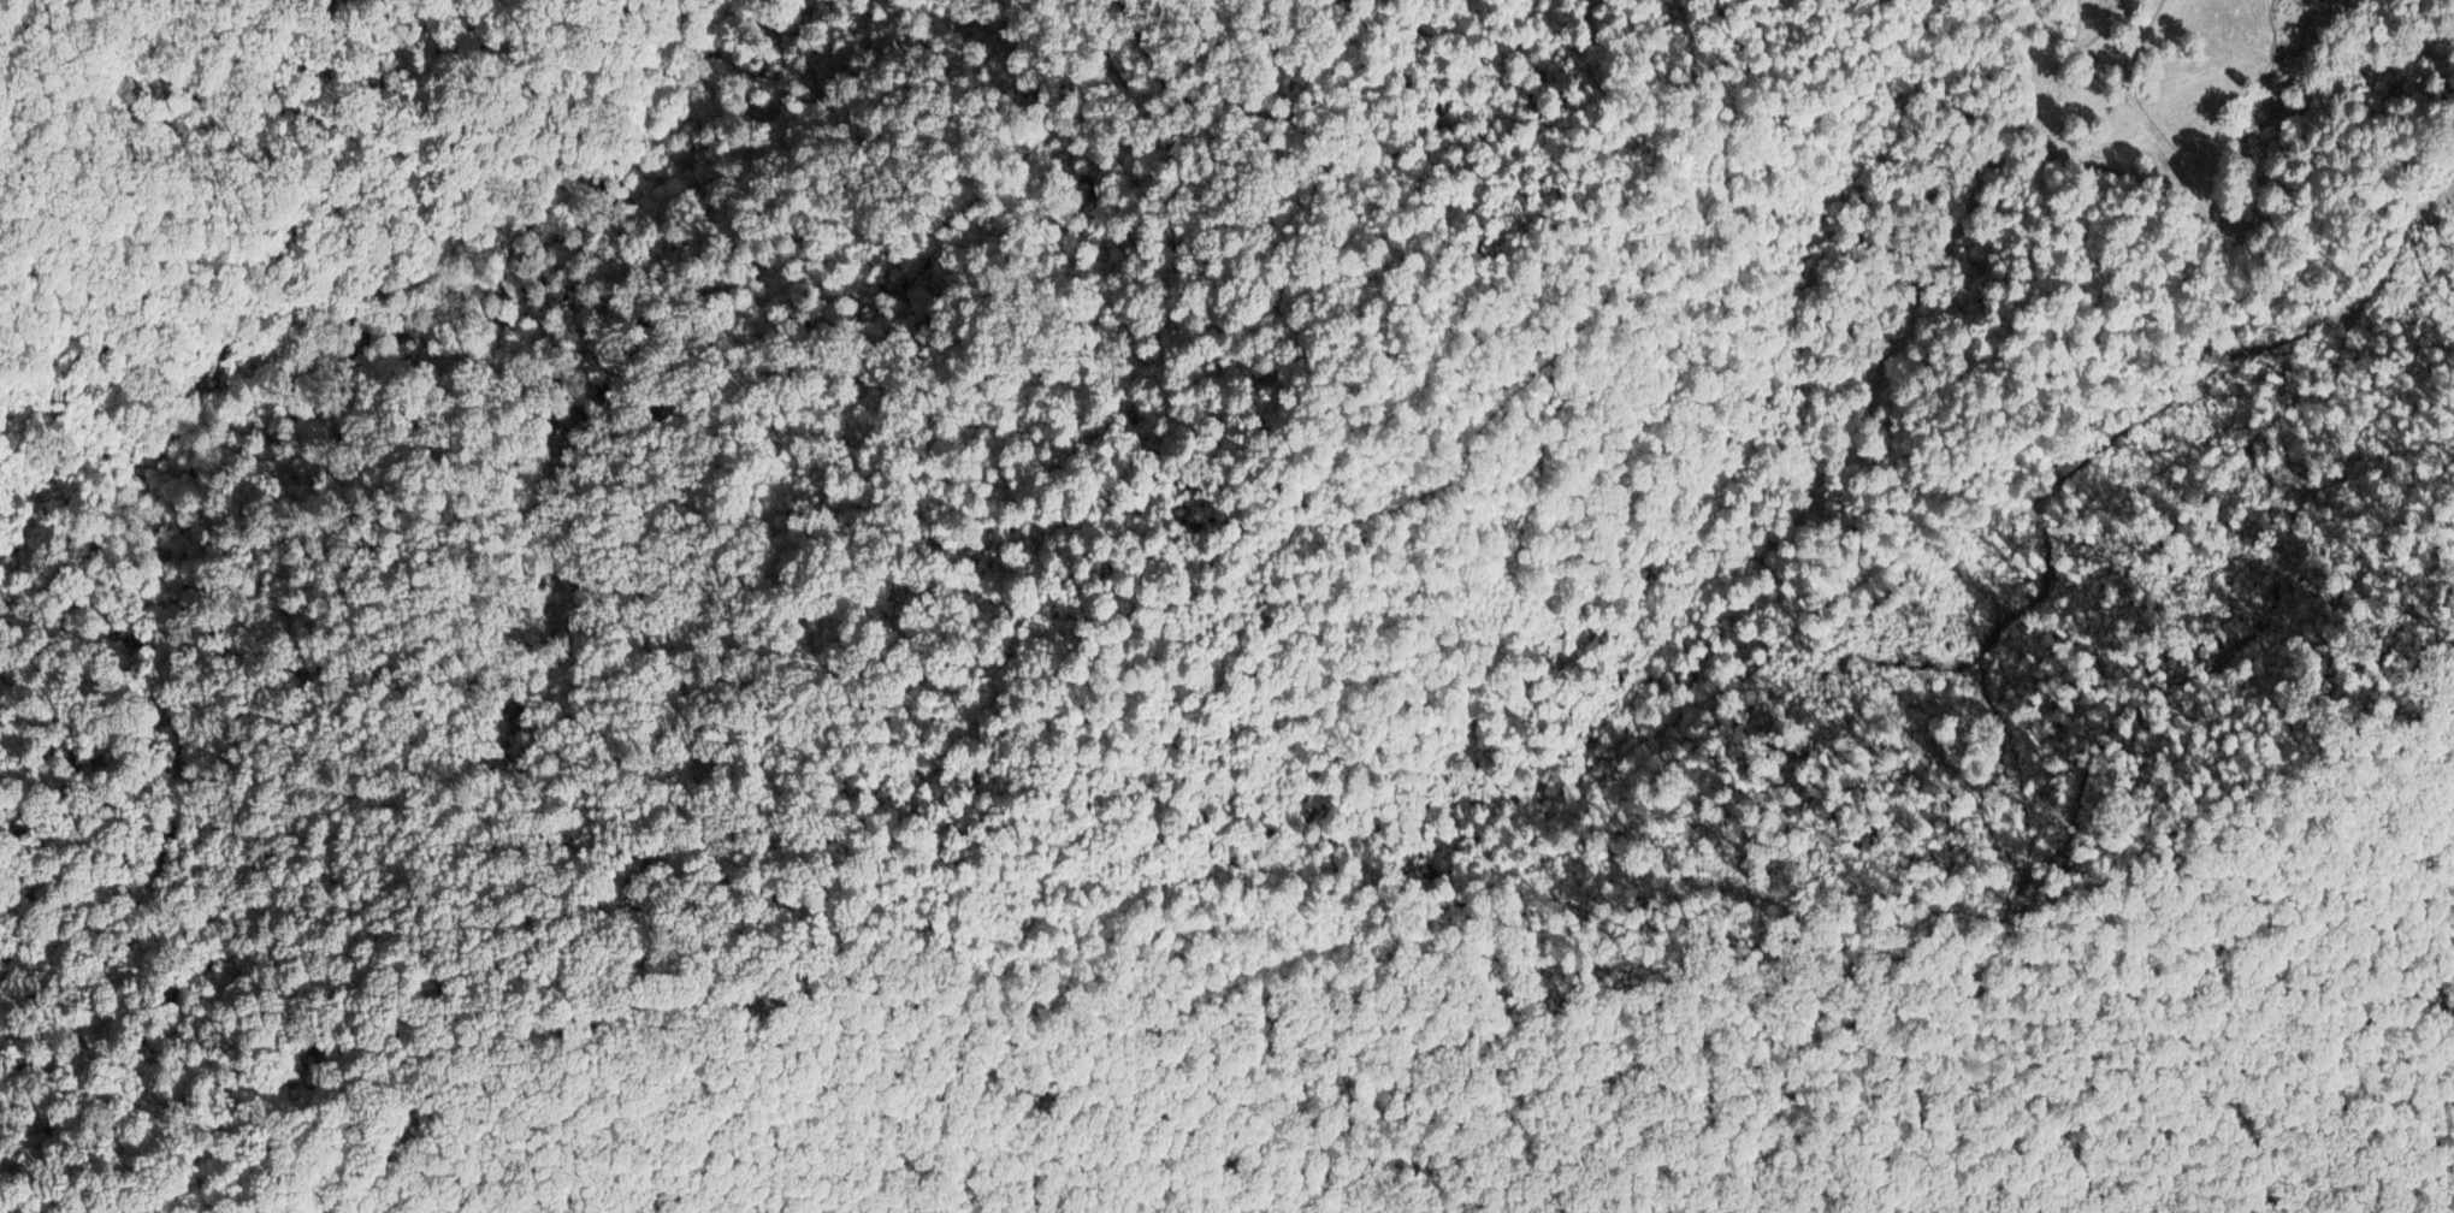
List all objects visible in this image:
building: (2116, 0)

